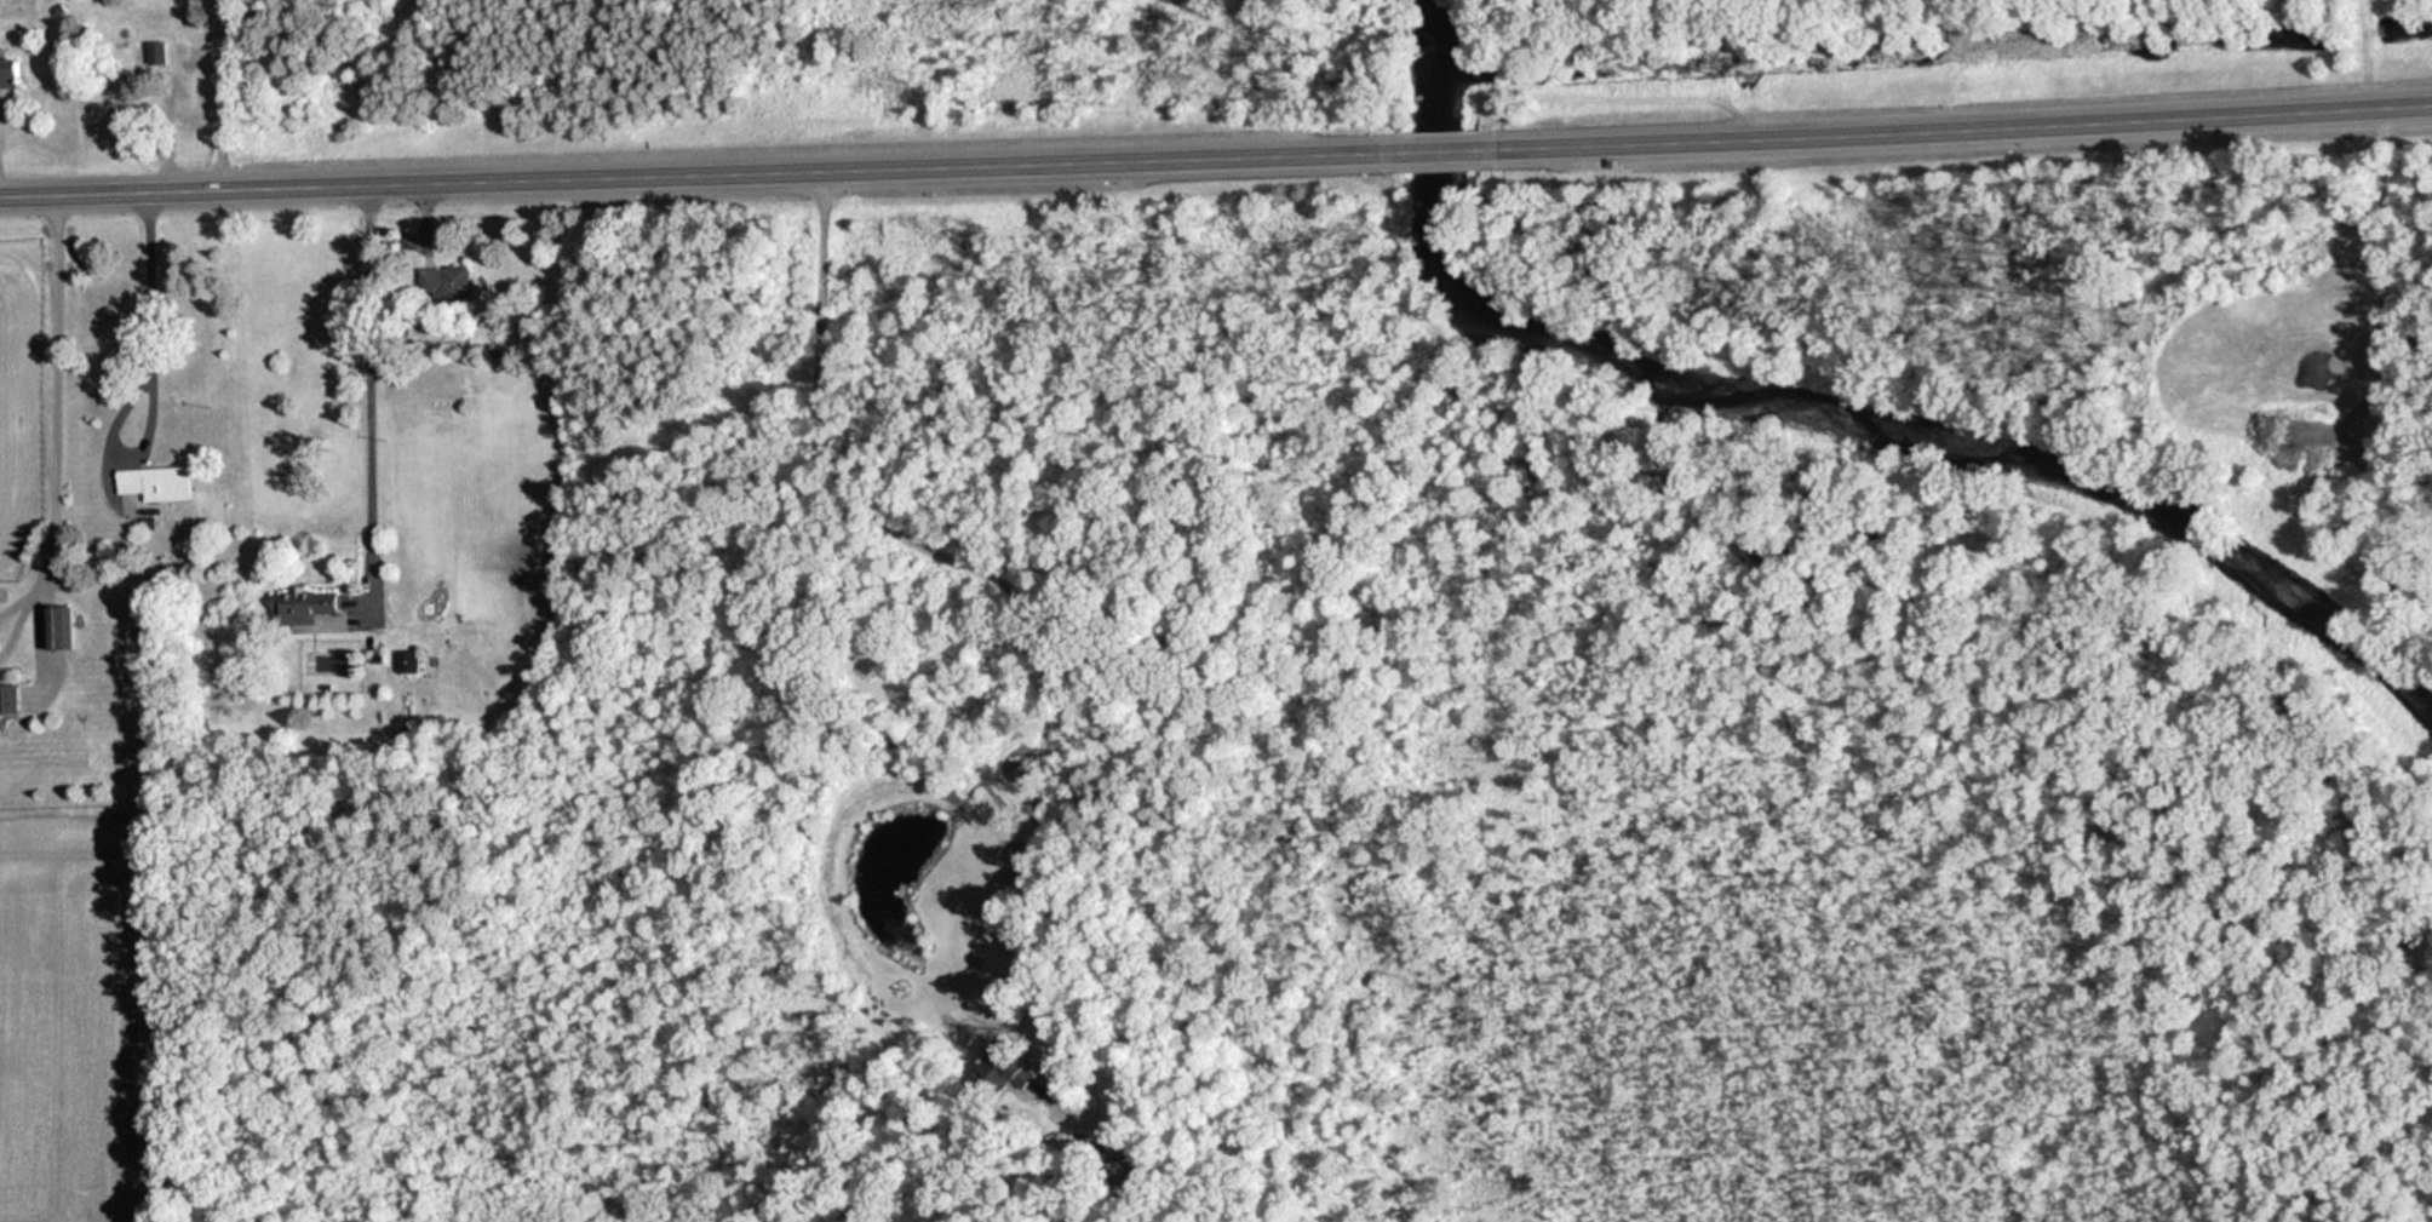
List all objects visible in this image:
building: (0, 5)
building: (154, 50)
building: (12, 74)
building: (119, 102)
road: (1958, 126)
road: (1441, 150)
road: (698, 173)
building: (448, 281)
road: (368, 384)
river: (1818, 414)
building: (159, 483)
building: (306, 607)
building: (62, 629)
building: (409, 661)
building: (12, 701)

